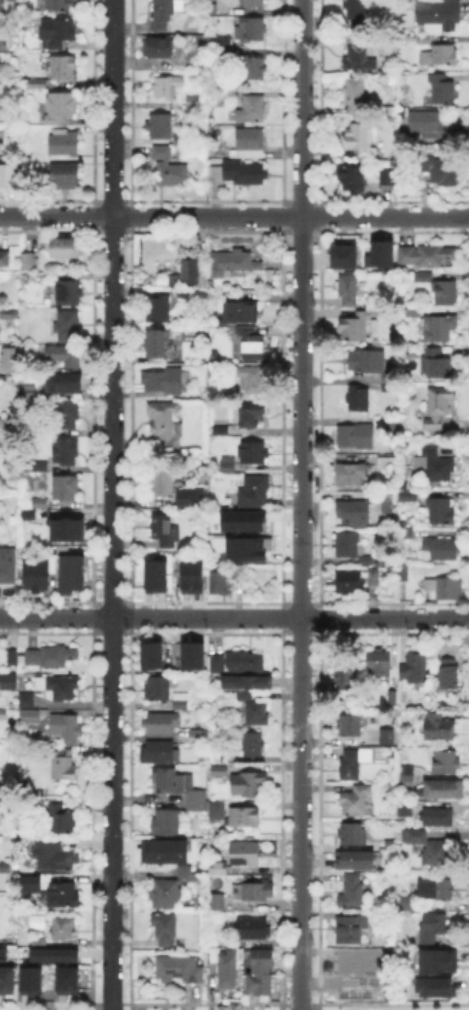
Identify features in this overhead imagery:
building: (254, 3)
building: (388, 3)
building: (60, 5)
building: (2, 6)
building: (211, 8)
building: (165, 11)
building: (356, 13)
building: (439, 16)
building: (406, 19)
building: (178, 29)
building: (252, 30)
building: (57, 34)
building: (424, 40)
building: (3, 45)
building: (158, 47)
building: (222, 48)
building: (358, 56)
building: (440, 56)
building: (63, 69)
building: (256, 69)
building: (36, 85)
building: (165, 86)
building: (441, 89)
building: (356, 96)
building: (62, 105)
building: (252, 109)
building: (3, 119)
building: (432, 125)
building: (165, 128)
building: (357, 137)
building: (64, 143)
building: (250, 143)
building: (369, 153)
building: (439, 169)
building: (170, 170)
building: (240, 173)
building: (64, 176)
building: (353, 177)
building: (388, 177)
building: (6, 179)
road: (234, 216)
building: (63, 248)
building: (383, 253)
building: (345, 255)
building: (428, 255)
building: (5, 259)
building: (25, 262)
building: (233, 264)
building: (189, 269)
building: (441, 289)
building: (349, 290)
building: (69, 294)
building: (199, 295)
building: (158, 309)
building: (240, 312)
building: (414, 312)
building: (7, 313)
building: (68, 325)
building: (358, 326)
building: (440, 329)
building: (201, 336)
building: (157, 344)
building: (251, 344)
building: (65, 355)
building: (6, 356)
building: (368, 362)
building: (437, 364)
building: (3, 376)
building: (163, 380)
building: (251, 380)
building: (65, 386)
building: (390, 386)
building: (28, 393)
building: (231, 397)
building: (359, 399)
building: (437, 409)
building: (66, 416)
building: (249, 416)
building: (8, 423)
building: (164, 424)
building: (356, 437)
building: (66, 453)
building: (254, 454)
building: (388, 461)
building: (433, 464)
building: (229, 466)
building: (41, 467)
building: (350, 474)
building: (163, 482)
building: (66, 488)
building: (250, 489)
building: (409, 495)
building: (188, 497)
building: (40, 502)
building: (389, 502)
road: (110, 504)
road: (298, 504)
building: (437, 509)
building: (353, 513)
building: (27, 514)
building: (241, 519)
building: (65, 529)
building: (165, 532)
building: (407, 533)
building: (348, 544)
building: (243, 547)
building: (441, 550)
building: (366, 561)
building: (6, 564)
building: (68, 571)
building: (239, 572)
building: (404, 573)
building: (153, 575)
building: (190, 575)
building: (37, 577)
building: (375, 577)
building: (218, 581)
building: (350, 582)
building: (444, 589)
road: (234, 616)
building: (150, 654)
building: (9, 655)
building: (193, 656)
building: (52, 657)
building: (380, 663)
building: (236, 664)
building: (415, 667)
building: (449, 674)
building: (344, 678)
building: (9, 682)
building: (244, 687)
building: (61, 688)
building: (158, 690)
building: (23, 698)
building: (181, 700)
building: (30, 709)
building: (257, 713)
building: (3, 715)
building: (161, 724)
building: (351, 725)
building: (440, 728)
building: (66, 729)
building: (196, 738)
building: (372, 738)
building: (253, 744)
building: (160, 753)
building: (229, 759)
building: (447, 763)
building: (64, 765)
building: (350, 765)
building: (219, 770)
building: (400, 781)
building: (172, 782)
building: (248, 785)
building: (445, 791)
building: (4, 794)
building: (355, 801)
building: (198, 803)
building: (405, 810)
building: (218, 811)
building: (245, 816)
building: (59, 818)
building: (436, 818)
building: (166, 823)
building: (354, 836)
building: (429, 848)
building: (164, 853)
building: (245, 854)
building: (54, 856)
building: (354, 863)
building: (6, 866)
building: (219, 869)
building: (186, 874)
building: (27, 881)
building: (437, 890)
building: (258, 891)
building: (352, 892)
building: (165, 894)
building: (64, 897)
building: (217, 901)
building: (402, 904)
building: (60, 926)
building: (351, 928)
building: (253, 929)
building: (430, 929)
building: (165, 930)
building: (35, 939)
building: (2, 953)
building: (51, 953)
building: (436, 960)
building: (353, 965)
building: (180, 969)
building: (226, 969)
building: (261, 974)
building: (6, 979)
building: (29, 979)
building: (65, 979)
building: (438, 987)

